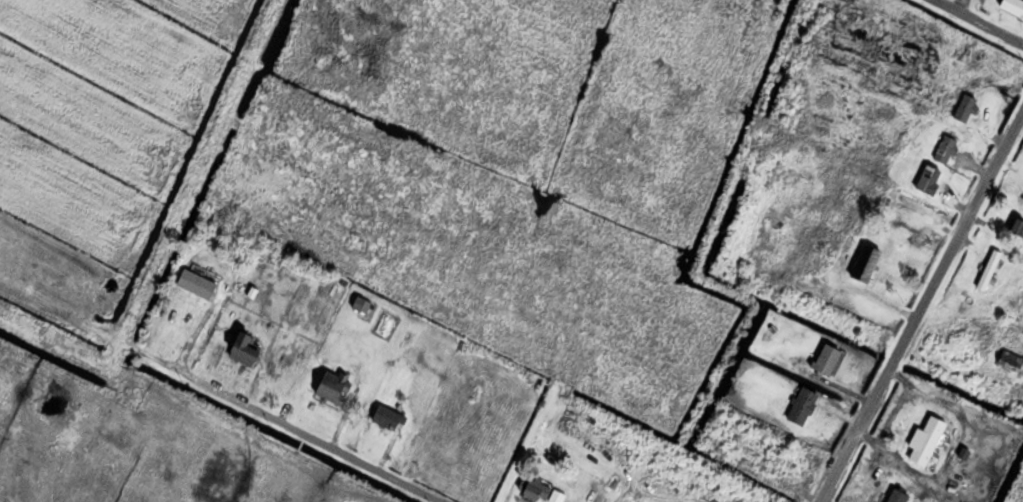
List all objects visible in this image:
building: (1012, 6)
road: (984, 19)
building: (965, 107)
building: (945, 148)
building: (928, 178)
building: (1017, 225)
building: (865, 262)
building: (989, 269)
building: (195, 282)
building: (361, 304)
road: (920, 306)
building: (244, 346)
building: (827, 358)
building: (1008, 360)
building: (333, 385)
building: (801, 405)
building: (388, 417)
road: (307, 438)
building: (927, 439)
building: (540, 490)
building: (895, 495)

